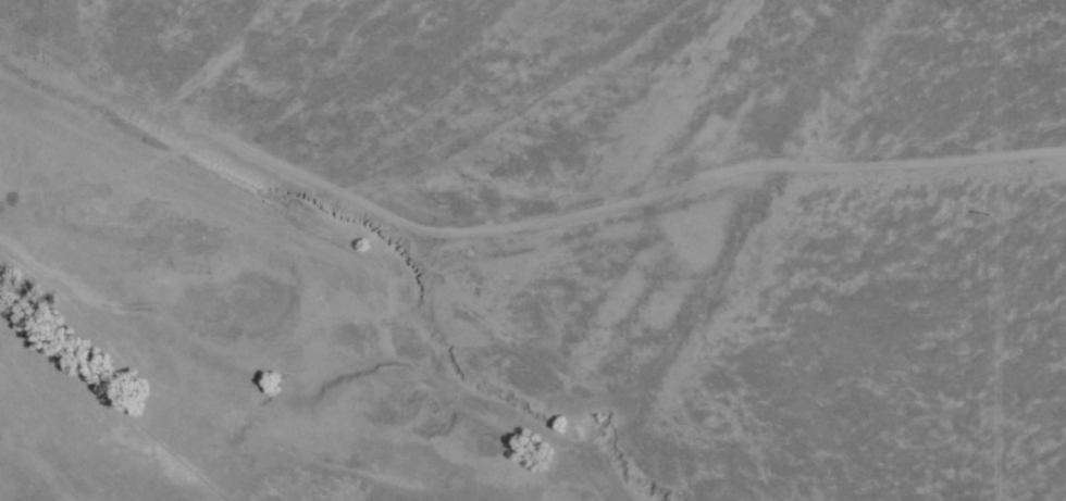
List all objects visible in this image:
road: (593, 249)
road: (38, 480)

